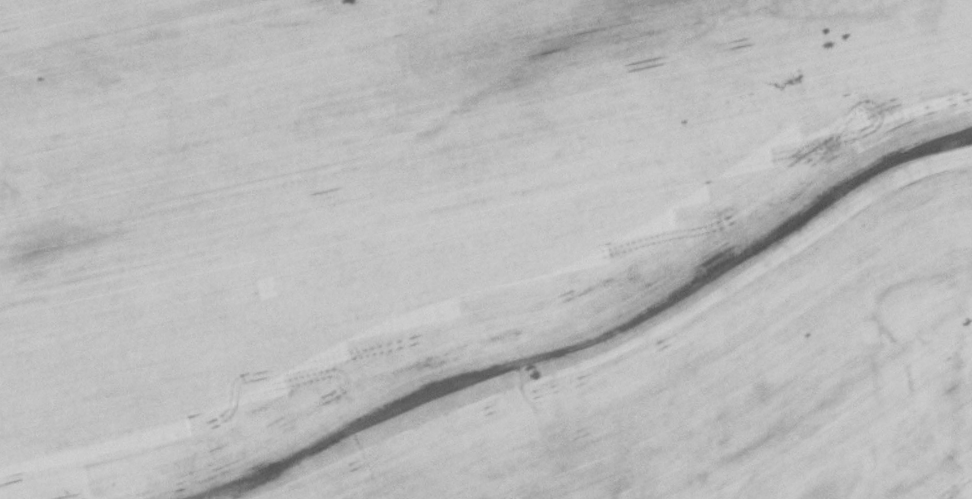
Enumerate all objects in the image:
crop: (393, 199)

